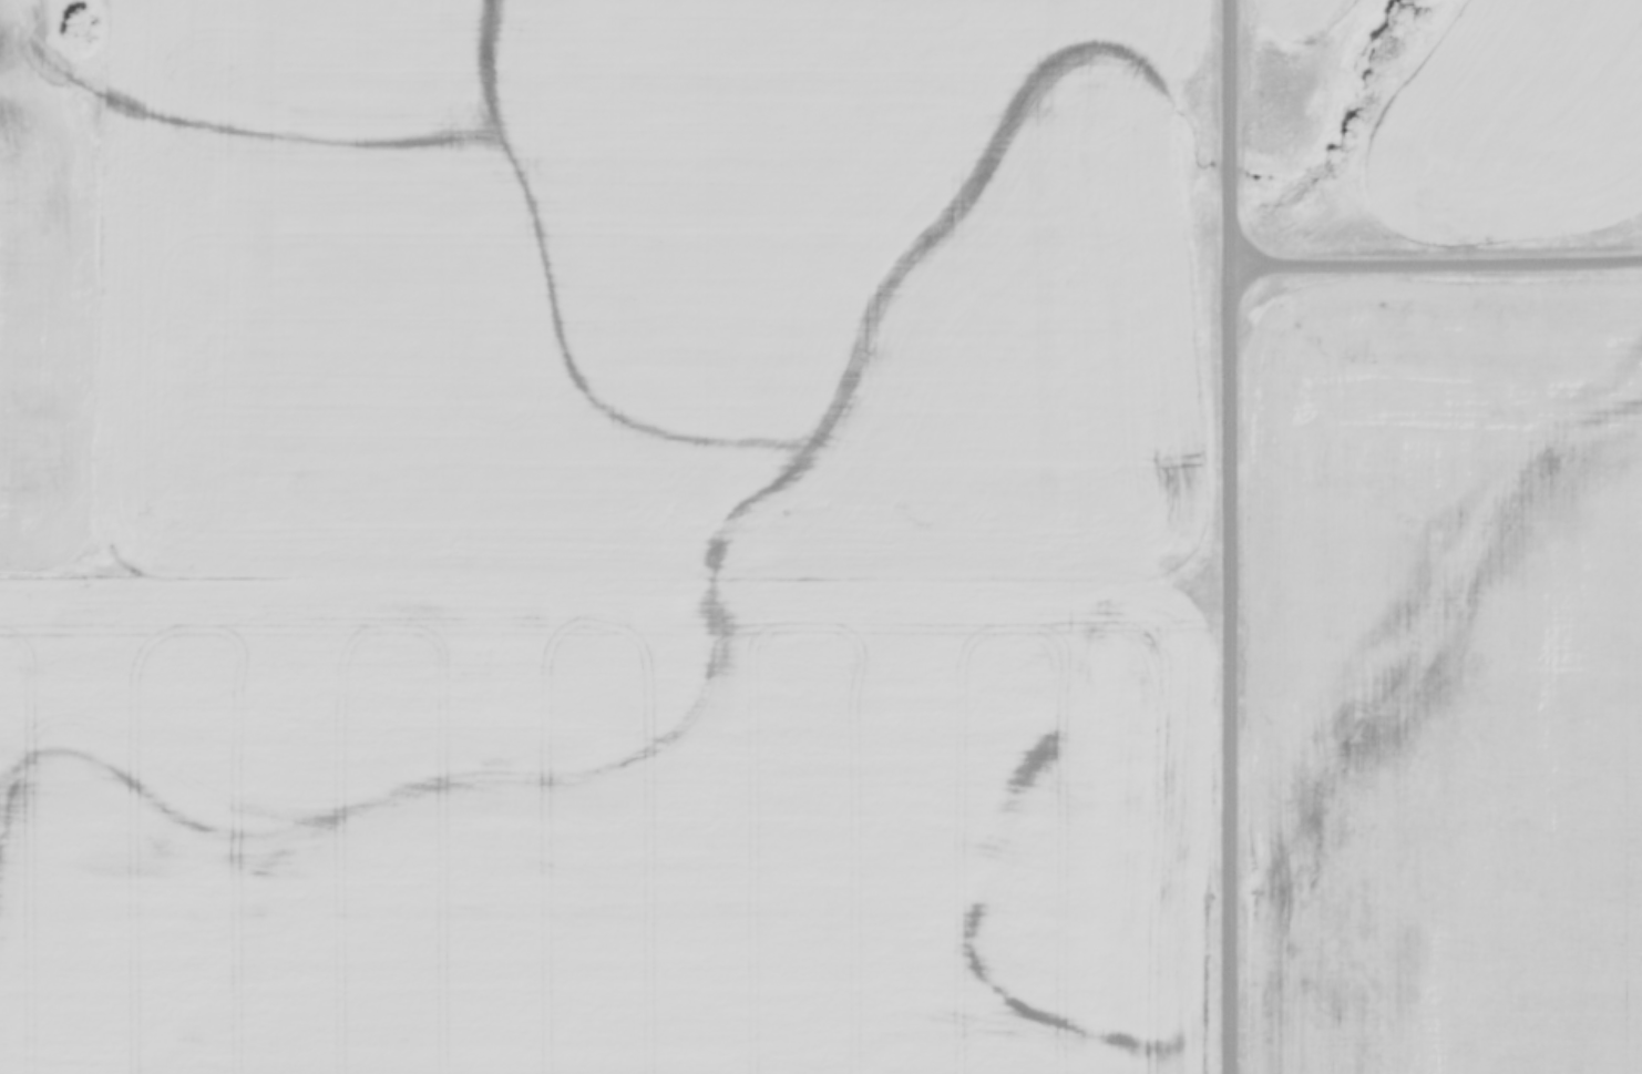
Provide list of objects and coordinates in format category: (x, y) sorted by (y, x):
road: (1439, 257)
road: (1235, 536)

